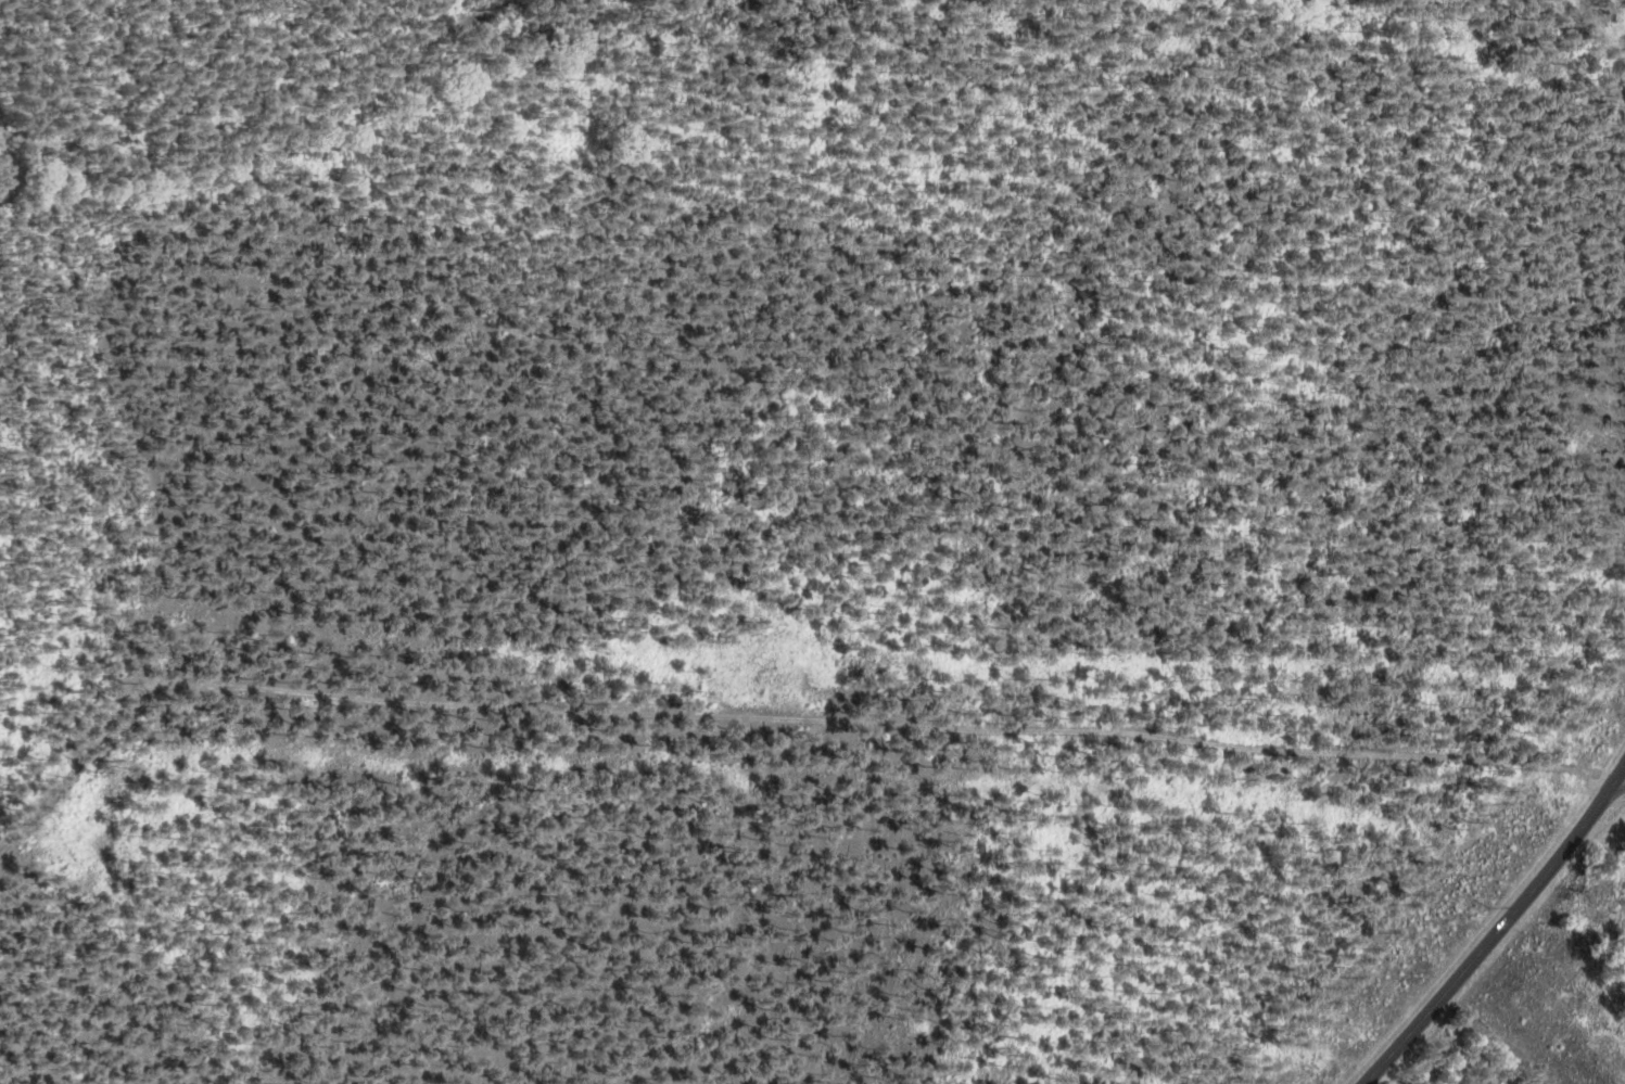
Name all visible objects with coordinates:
road: (1500, 929)

